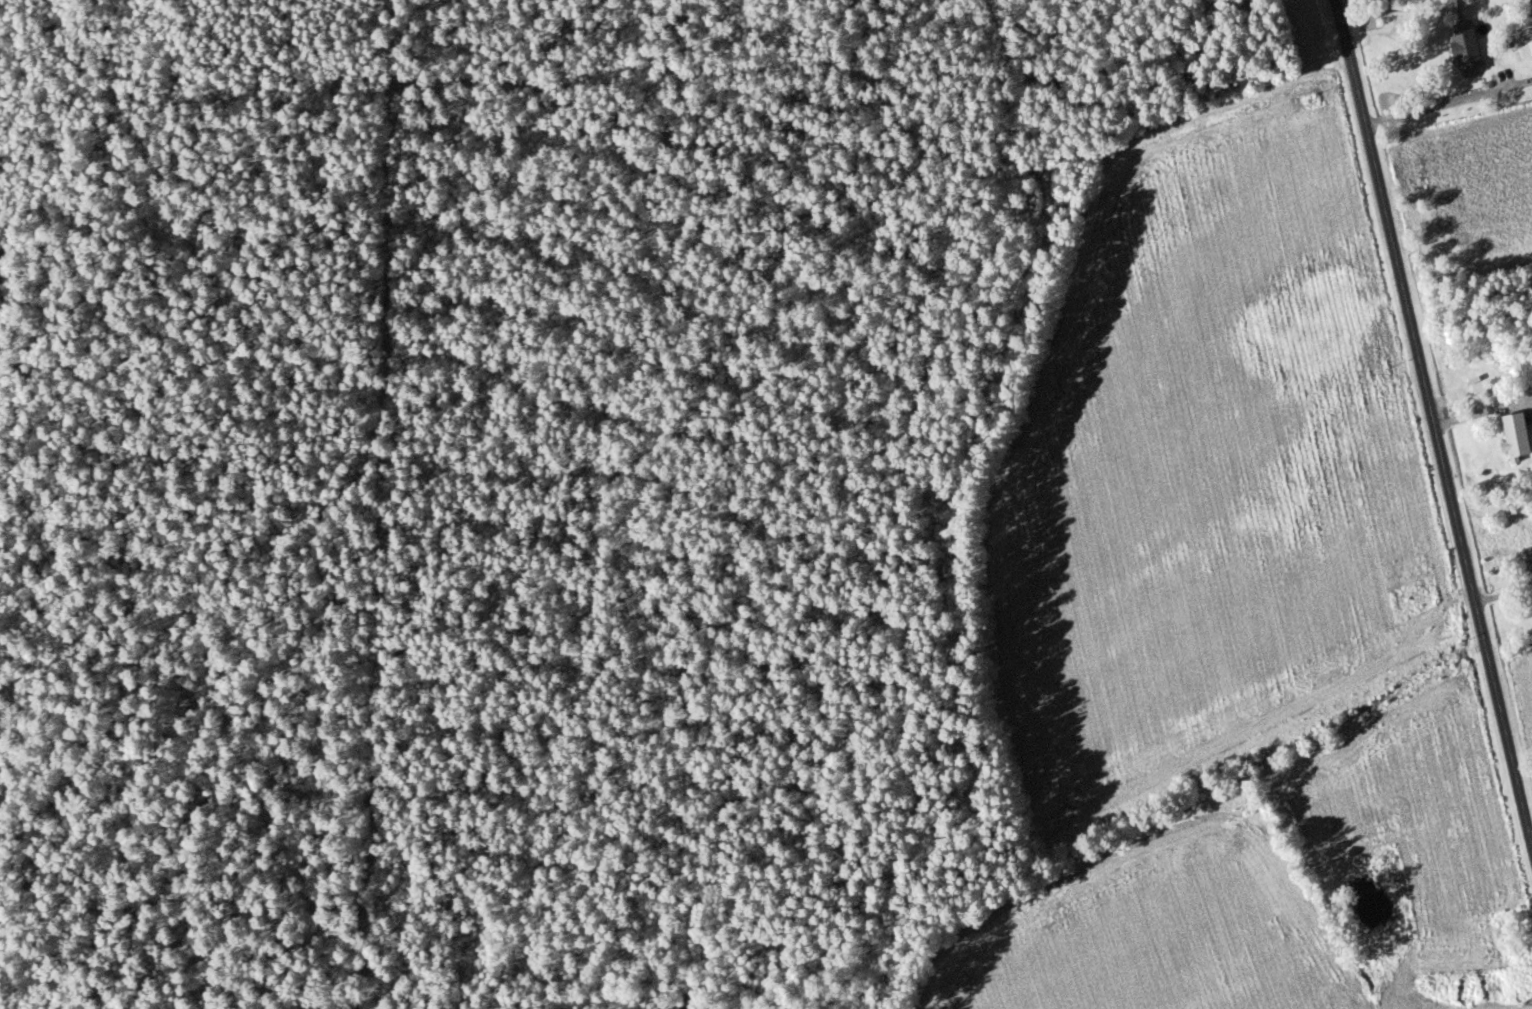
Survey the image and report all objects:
building: (1463, 46)
road: (1435, 418)
building: (1514, 436)

